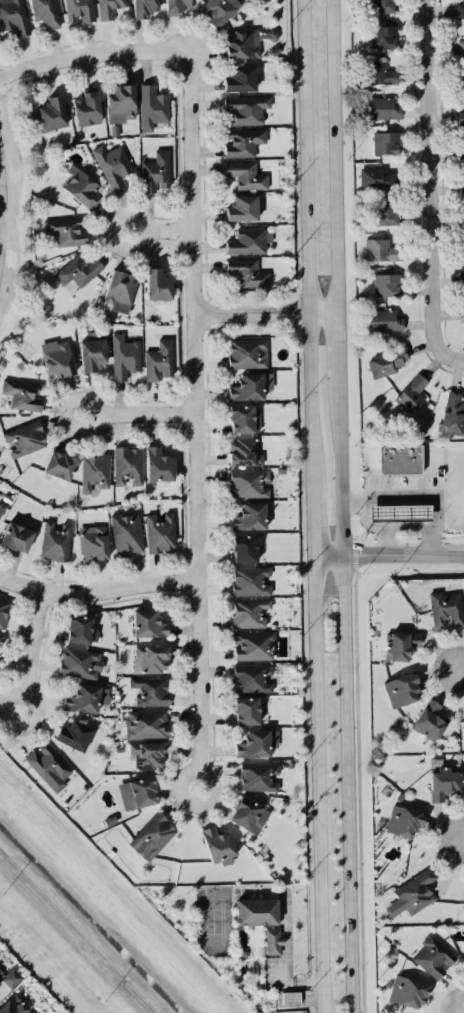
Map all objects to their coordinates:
building: (381, 5)
building: (176, 6)
building: (108, 8)
building: (143, 8)
building: (79, 10)
building: (218, 10)
building: (460, 10)
building: (45, 12)
building: (13, 16)
building: (383, 34)
building: (245, 41)
building: (460, 46)
road: (94, 54)
building: (378, 73)
building: (240, 78)
building: (120, 102)
building: (152, 106)
building: (383, 107)
building: (87, 108)
building: (246, 108)
building: (51, 112)
building: (461, 117)
building: (243, 141)
building: (385, 142)
building: (462, 144)
road: (336, 155)
building: (112, 165)
building: (155, 171)
building: (246, 174)
building: (376, 177)
building: (80, 186)
building: (461, 187)
road: (430, 188)
building: (242, 207)
road: (3, 212)
building: (385, 213)
building: (462, 223)
building: (65, 230)
road: (161, 230)
building: (247, 241)
building: (381, 249)
building: (463, 250)
building: (78, 270)
building: (247, 272)
building: (157, 284)
building: (385, 284)
building: (463, 285)
building: (120, 290)
road: (268, 312)
building: (462, 313)
building: (385, 320)
road: (340, 342)
building: (92, 351)
building: (247, 353)
building: (124, 356)
building: (57, 358)
building: (159, 360)
building: (387, 361)
building: (250, 385)
building: (22, 393)
building: (411, 393)
building: (453, 413)
road: (140, 414)
building: (243, 417)
road: (196, 420)
building: (24, 438)
building: (244, 451)
building: (399, 458)
building: (59, 464)
building: (127, 464)
building: (158, 464)
building: (94, 471)
building: (249, 482)
road: (425, 498)
building: (2, 506)
road: (314, 506)
building: (399, 512)
building: (249, 516)
road: (384, 527)
road: (422, 527)
building: (160, 532)
building: (126, 533)
building: (16, 537)
building: (55, 541)
building: (93, 542)
building: (243, 547)
road: (389, 554)
building: (250, 580)
road: (97, 591)
building: (445, 609)
building: (3, 610)
building: (250, 612)
building: (148, 623)
building: (80, 629)
building: (0, 635)
building: (399, 644)
building: (252, 645)
road: (32, 649)
building: (150, 658)
building: (80, 662)
road: (460, 669)
building: (252, 677)
building: (401, 689)
building: (150, 690)
road: (346, 693)
building: (83, 698)
building: (246, 710)
building: (430, 719)
building: (146, 723)
building: (73, 734)
building: (256, 743)
building: (146, 754)
building: (48, 766)
building: (463, 769)
building: (257, 776)
building: (442, 782)
building: (137, 792)
building: (248, 814)
building: (403, 820)
building: (152, 835)
road: (463, 839)
building: (218, 845)
building: (412, 893)
building: (256, 911)
building: (272, 940)
building: (433, 956)
road: (287, 969)
building: (0, 970)
building: (10, 976)
building: (0, 982)
building: (407, 991)
building: (290, 997)
building: (14, 1005)

